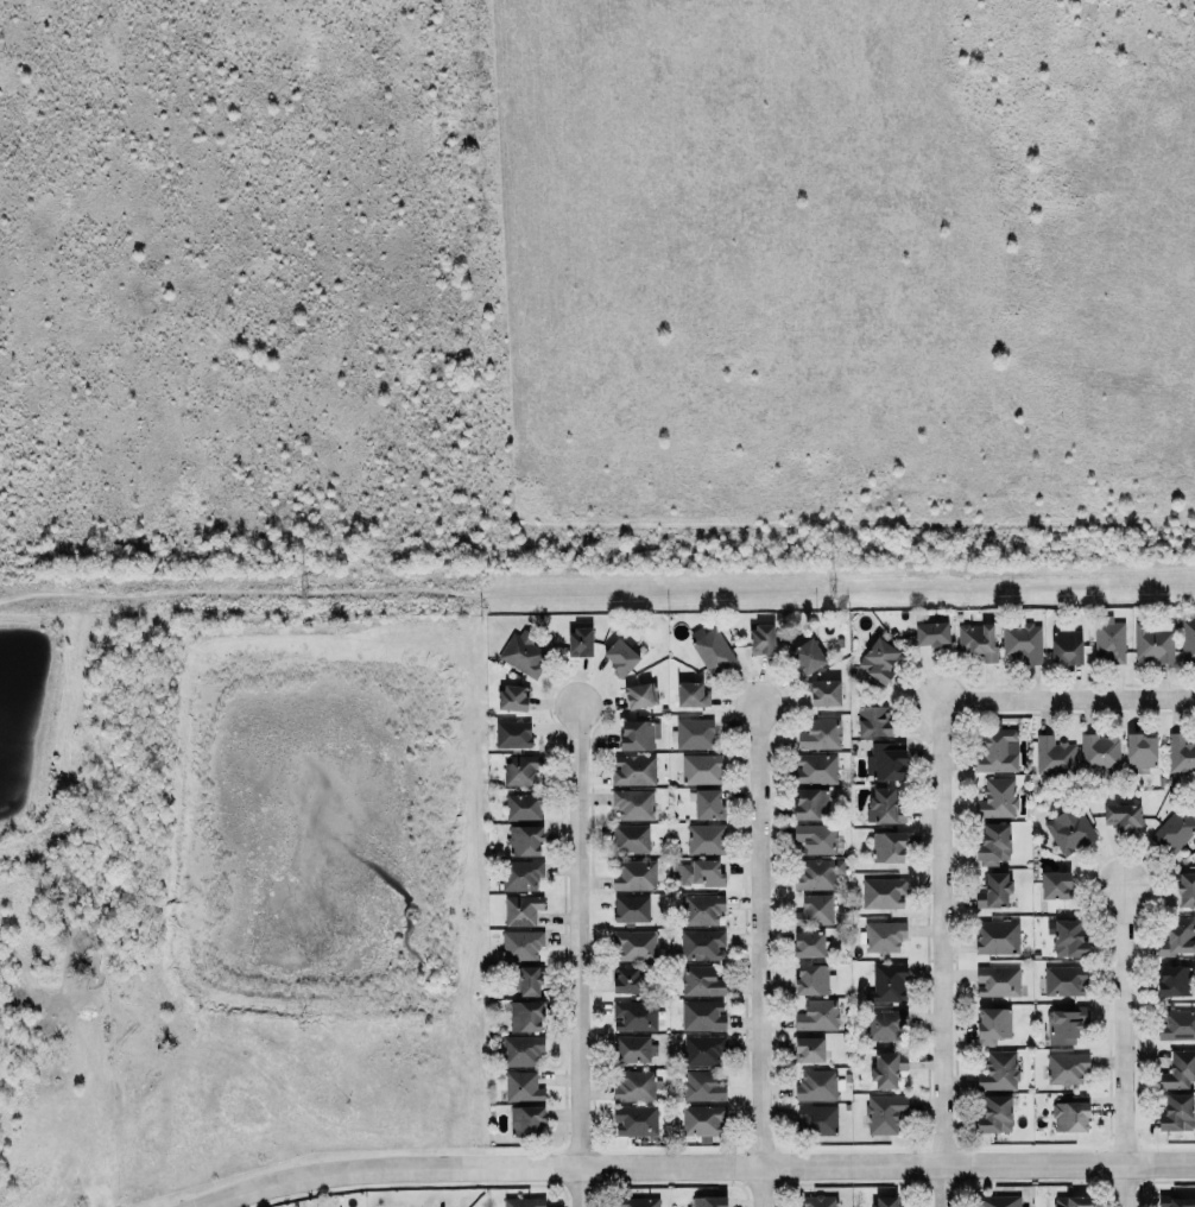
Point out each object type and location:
power tower: (832, 588)
power tower: (302, 602)
building: (931, 634)
building: (758, 639)
building: (975, 640)
building: (1107, 640)
building: (1188, 642)
building: (580, 643)
building: (1023, 643)
building: (1153, 643)
building: (1066, 647)
building: (710, 649)
building: (519, 653)
building: (618, 656)
building: (808, 657)
building: (875, 659)
building: (821, 691)
building: (638, 694)
building: (689, 694)
building: (511, 697)
road: (1067, 699)
building: (873, 721)
building: (691, 733)
building: (636, 734)
building: (512, 735)
building: (820, 735)
building: (997, 751)
building: (1098, 751)
building: (1140, 751)
building: (1181, 754)
building: (1051, 756)
building: (884, 762)
building: (813, 769)
building: (521, 770)
building: (701, 770)
building: (633, 771)
building: (997, 798)
building: (704, 803)
building: (808, 803)
building: (633, 804)
building: (520, 807)
building: (880, 807)
building: (1123, 817)
building: (1172, 829)
building: (1069, 830)
building: (814, 838)
building: (631, 839)
building: (523, 840)
building: (706, 840)
building: (885, 846)
building: (993, 846)
building: (696, 873)
building: (817, 873)
building: (518, 874)
building: (632, 874)
building: (1052, 884)
building: (1184, 890)
building: (880, 892)
building: (993, 892)
building: (519, 909)
building: (628, 909)
building: (702, 910)
building: (813, 910)
building: (994, 936)
building: (884, 937)
building: (1176, 937)
building: (1067, 939)
building: (632, 944)
building: (698, 944)
building: (807, 944)
building: (521, 946)
road: (941, 953)
road: (760, 955)
road: (578, 956)
building: (811, 978)
building: (524, 979)
building: (626, 980)
building: (1063, 980)
building: (1171, 980)
building: (700, 981)
building: (995, 981)
building: (885, 982)
building: (815, 1015)
building: (525, 1016)
building: (632, 1016)
building: (702, 1016)
building: (1175, 1024)
building: (885, 1025)
building: (991, 1025)
building: (1064, 1026)
road: (1123, 1045)
building: (805, 1049)
building: (633, 1050)
building: (703, 1050)
building: (521, 1051)
building: (1067, 1068)
building: (1177, 1068)
building: (885, 1069)
building: (998, 1072)
building: (632, 1086)
building: (816, 1086)
building: (702, 1087)
building: (524, 1104)
building: (881, 1112)
building: (1177, 1113)
building: (995, 1116)
building: (1070, 1118)
building: (701, 1119)
building: (818, 1120)
building: (634, 1121)
road: (709, 1165)
building: (706, 1201)
building: (818, 1201)
building: (886, 1201)
building: (999, 1201)
building: (520, 1202)
building: (638, 1202)
building: (1071, 1202)
building: (1176, 1202)

